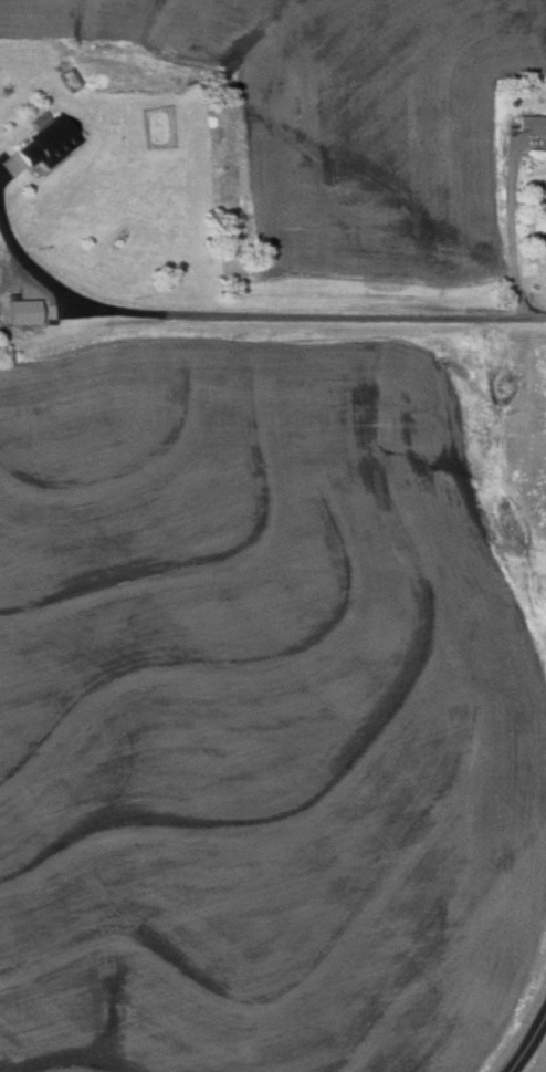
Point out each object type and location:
building: (526, 121)
crop: (342, 123)
building: (42, 142)
building: (545, 246)
building: (17, 313)
road: (256, 315)
crop: (259, 717)
road: (529, 1047)

